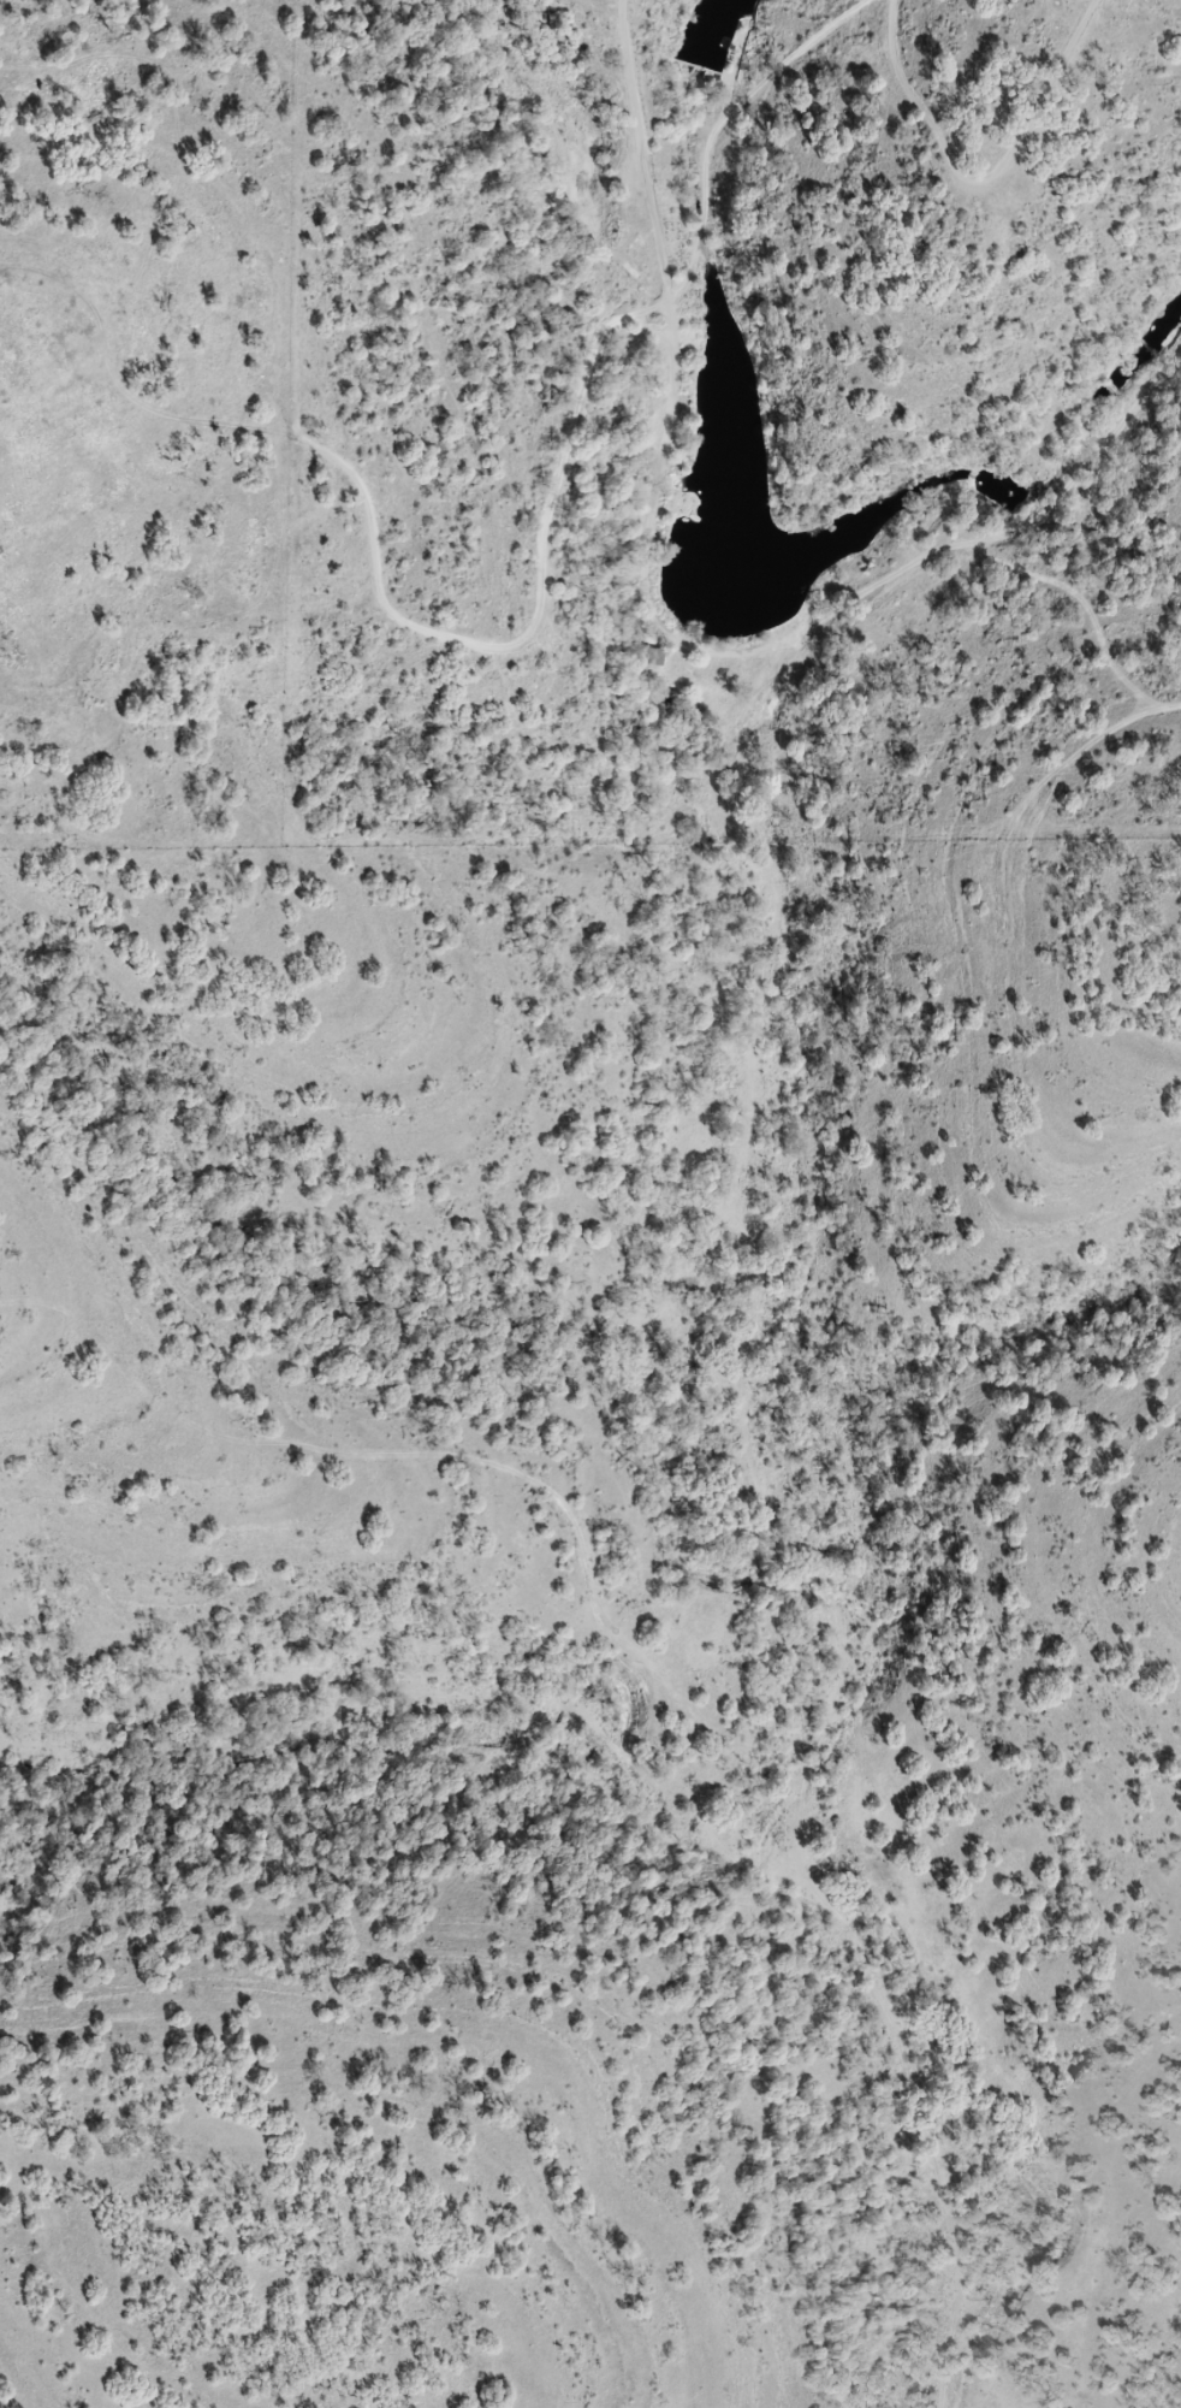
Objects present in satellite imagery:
building: (651, 657)

